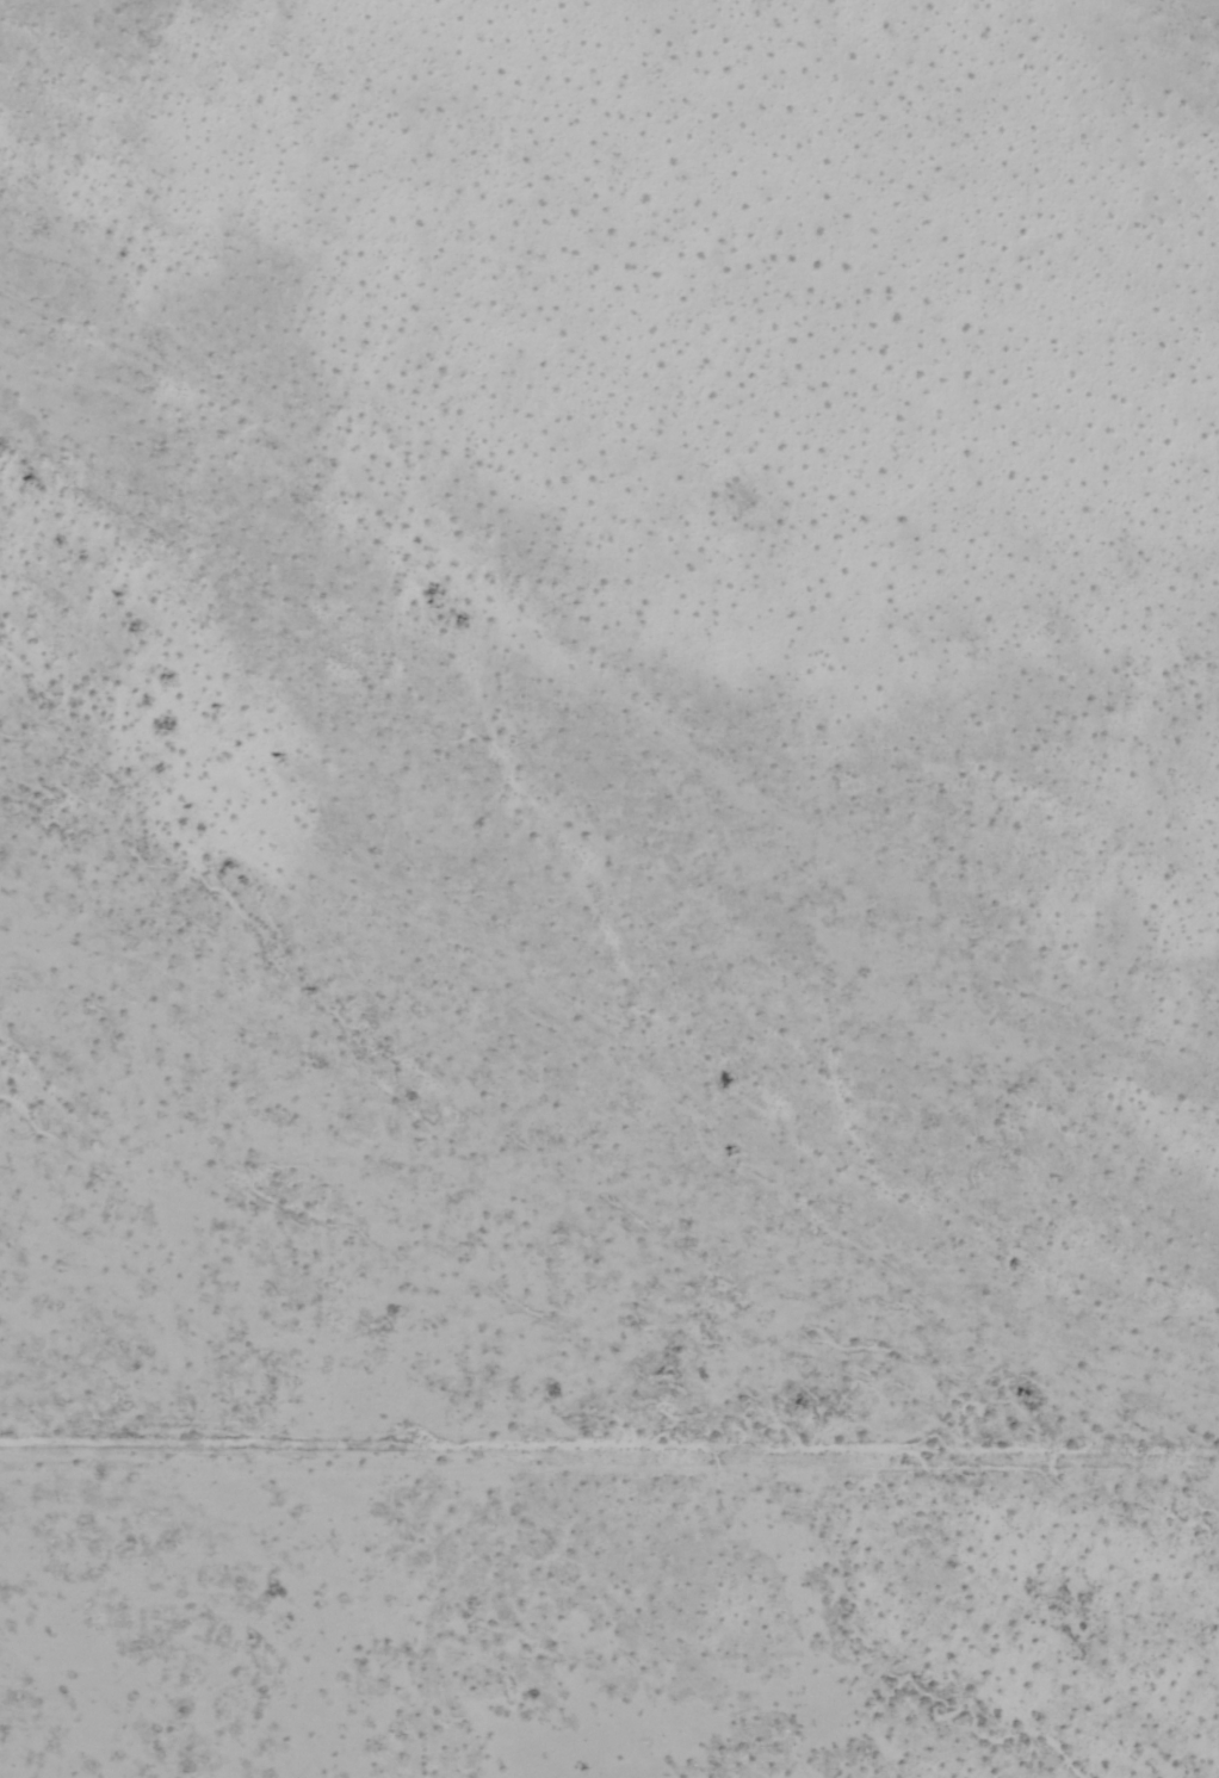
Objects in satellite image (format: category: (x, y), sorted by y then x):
road: (609, 1450)

